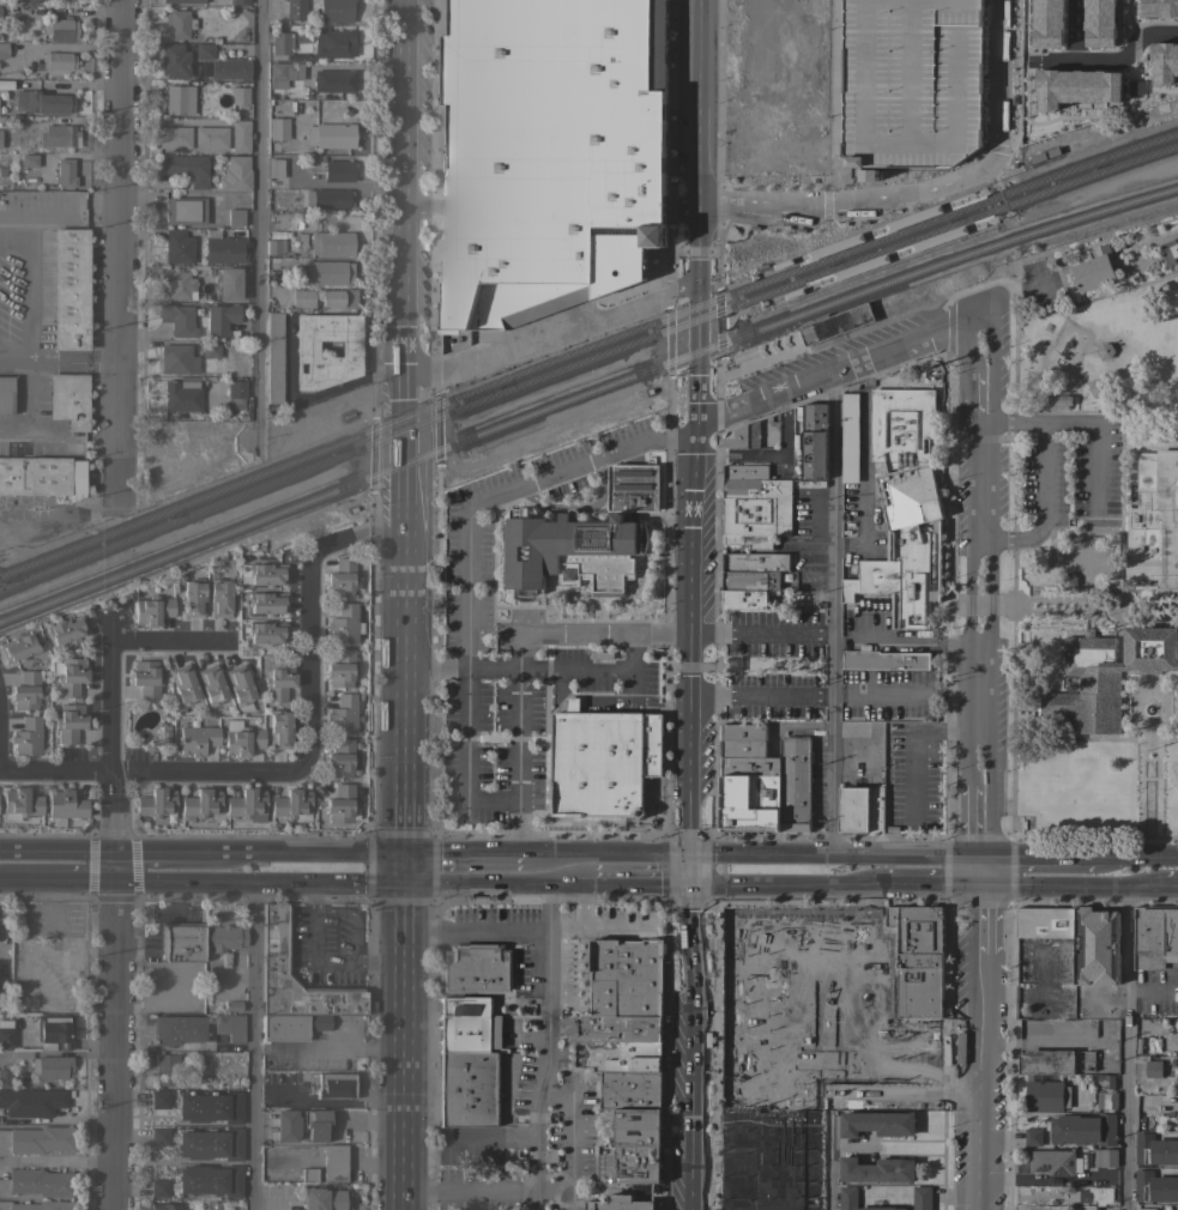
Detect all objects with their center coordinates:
building: (30, 0)
building: (59, 0)
building: (182, 0)
building: (238, 1)
road: (1129, 1)
building: (1158, 8)
building: (296, 10)
building: (336, 11)
building: (911, 13)
building: (179, 23)
building: (60, 29)
building: (280, 42)
building: (334, 43)
building: (4, 49)
building: (204, 50)
building: (1158, 54)
road: (833, 56)
building: (58, 60)
building: (174, 60)
building: (230, 67)
building: (1081, 68)
building: (284, 73)
building: (1049, 74)
building: (333, 80)
building: (6, 84)
building: (1152, 87)
building: (240, 95)
building: (180, 99)
building: (42, 102)
road: (699, 103)
building: (278, 128)
building: (820, 133)
building: (331, 134)
building: (61, 135)
building: (240, 135)
building: (174, 137)
building: (211, 137)
building: (549, 155)
building: (29, 159)
building: (188, 168)
building: (276, 168)
building: (338, 170)
building: (65, 173)
building: (235, 174)
building: (866, 175)
road: (926, 188)
railway: (981, 194)
building: (328, 198)
road: (423, 205)
road: (682, 206)
road: (58, 210)
building: (186, 210)
building: (235, 217)
railway: (993, 222)
road: (258, 231)
building: (331, 243)
building: (276, 246)
road: (696, 246)
building: (179, 247)
building: (224, 247)
building: (1170, 252)
road: (114, 254)
road: (409, 264)
building: (1094, 271)
building: (328, 272)
building: (228, 283)
road: (31, 284)
building: (180, 284)
building: (70, 288)
building: (294, 296)
building: (338, 297)
building: (179, 319)
building: (221, 319)
building: (835, 323)
road: (552, 334)
building: (211, 347)
building: (306, 347)
railway: (585, 349)
building: (1105, 351)
road: (696, 355)
building: (274, 356)
road: (14, 358)
road: (70, 358)
building: (177, 358)
railway: (585, 362)
park: (1108, 362)
road: (840, 371)
building: (236, 388)
building: (1097, 388)
building: (5, 394)
building: (181, 397)
railway: (586, 397)
building: (70, 399)
road: (25, 403)
building: (1056, 403)
building: (742, 436)
building: (848, 438)
building: (814, 441)
road: (1098, 441)
building: (744, 472)
building: (41, 476)
road: (1041, 476)
road: (506, 489)
building: (756, 501)
building: (901, 504)
road: (579, 507)
building: (1153, 521)
building: (755, 528)
building: (581, 539)
building: (748, 540)
building: (755, 562)
building: (267, 574)
building: (342, 577)
building: (750, 580)
building: (1068, 581)
road: (981, 586)
building: (194, 597)
building: (219, 598)
building: (747, 598)
building: (267, 601)
building: (153, 610)
road: (834, 613)
building: (344, 623)
building: (67, 629)
building: (267, 631)
road: (763, 631)
road: (604, 634)
road: (167, 641)
road: (691, 641)
building: (19, 646)
road: (632, 654)
building: (883, 660)
road: (461, 664)
building: (342, 667)
road: (615, 672)
building: (71, 674)
building: (1106, 676)
building: (146, 678)
building: (279, 680)
building: (183, 684)
building: (212, 684)
building: (240, 685)
building: (26, 690)
road: (405, 690)
road: (555, 691)
road: (762, 695)
road: (572, 704)
fountain: (1147, 709)
building: (343, 714)
building: (70, 721)
building: (280, 728)
building: (742, 732)
building: (28, 736)
building: (197, 737)
building: (242, 738)
road: (518, 744)
building: (743, 748)
flagpole: (1147, 751)
road: (303, 757)
building: (340, 757)
road: (466, 760)
building: (603, 763)
building: (750, 767)
parking lot: (912, 774)
building: (795, 785)
building: (156, 801)
building: (20, 803)
building: (201, 803)
building: (246, 803)
building: (340, 803)
building: (66, 804)
building: (292, 804)
building: (750, 804)
building: (853, 810)
building: (875, 810)
road: (1, 851)
road: (56, 851)
road: (243, 851)
road: (164, 852)
road: (337, 852)
traffic signals: (405, 853)
road: (460, 854)
road: (832, 855)
road: (555, 857)
road: (640, 857)
traffic signals: (979, 857)
road: (1035, 857)
traffic signals: (687, 858)
road: (1135, 858)
road: (405, 866)
road: (687, 871)
road: (55, 877)
road: (345, 879)
traffic signals: (405, 879)
road: (634, 884)
traffic signals: (687, 885)
road: (780, 885)
road: (878, 887)
road: (931, 887)
traffic signals: (980, 887)
road: (1071, 887)
road: (1170, 887)
road: (581, 903)
road: (109, 912)
building: (1045, 922)
road: (600, 924)
road: (477, 932)
building: (224, 937)
building: (1154, 937)
building: (276, 939)
building: (181, 940)
road: (1, 950)
building: (74, 956)
building: (917, 960)
building: (476, 972)
building: (626, 978)
building: (232, 1005)
building: (230, 1026)
building: (291, 1026)
building: (177, 1029)
building: (614, 1029)
building: (54, 1030)
building: (6, 1033)
road: (980, 1033)
road: (250, 1045)
road: (340, 1045)
road: (404, 1045)
road: (548, 1047)
road: (689, 1047)
road: (1129, 1048)
building: (635, 1058)
building: (1088, 1060)
building: (466, 1063)
building: (1046, 1063)
building: (1170, 1063)
building: (50, 1066)
building: (1153, 1069)
building: (169, 1070)
building: (5, 1077)
building: (1105, 1082)
building: (336, 1084)
building: (632, 1089)
road: (902, 1090)
building: (1045, 1096)
building: (159, 1099)
building: (1106, 1100)
building: (31, 1101)
building: (210, 1106)
building: (302, 1124)
building: (877, 1124)
building: (636, 1126)
building: (1083, 1130)
building: (159, 1136)
road: (570, 1136)
building: (1032, 1136)
road: (487, 1137)
building: (38, 1139)
building: (211, 1143)
building: (1154, 1150)
road: (827, 1151)
building: (1105, 1157)
road: (54, 1161)
building: (1053, 1162)
building: (326, 1164)
building: (629, 1164)
building: (877, 1170)
building: (210, 1180)
building: (36, 1181)
road: (469, 1186)
building: (159, 1187)
building: (1154, 1187)
road: (552, 1188)
building: (272, 1190)
building: (1095, 1196)
building: (922, 1197)
building: (328, 1199)
building: (621, 1204)
building: (36, 1205)
building: (163, 1206)
building: (1146, 1209)

